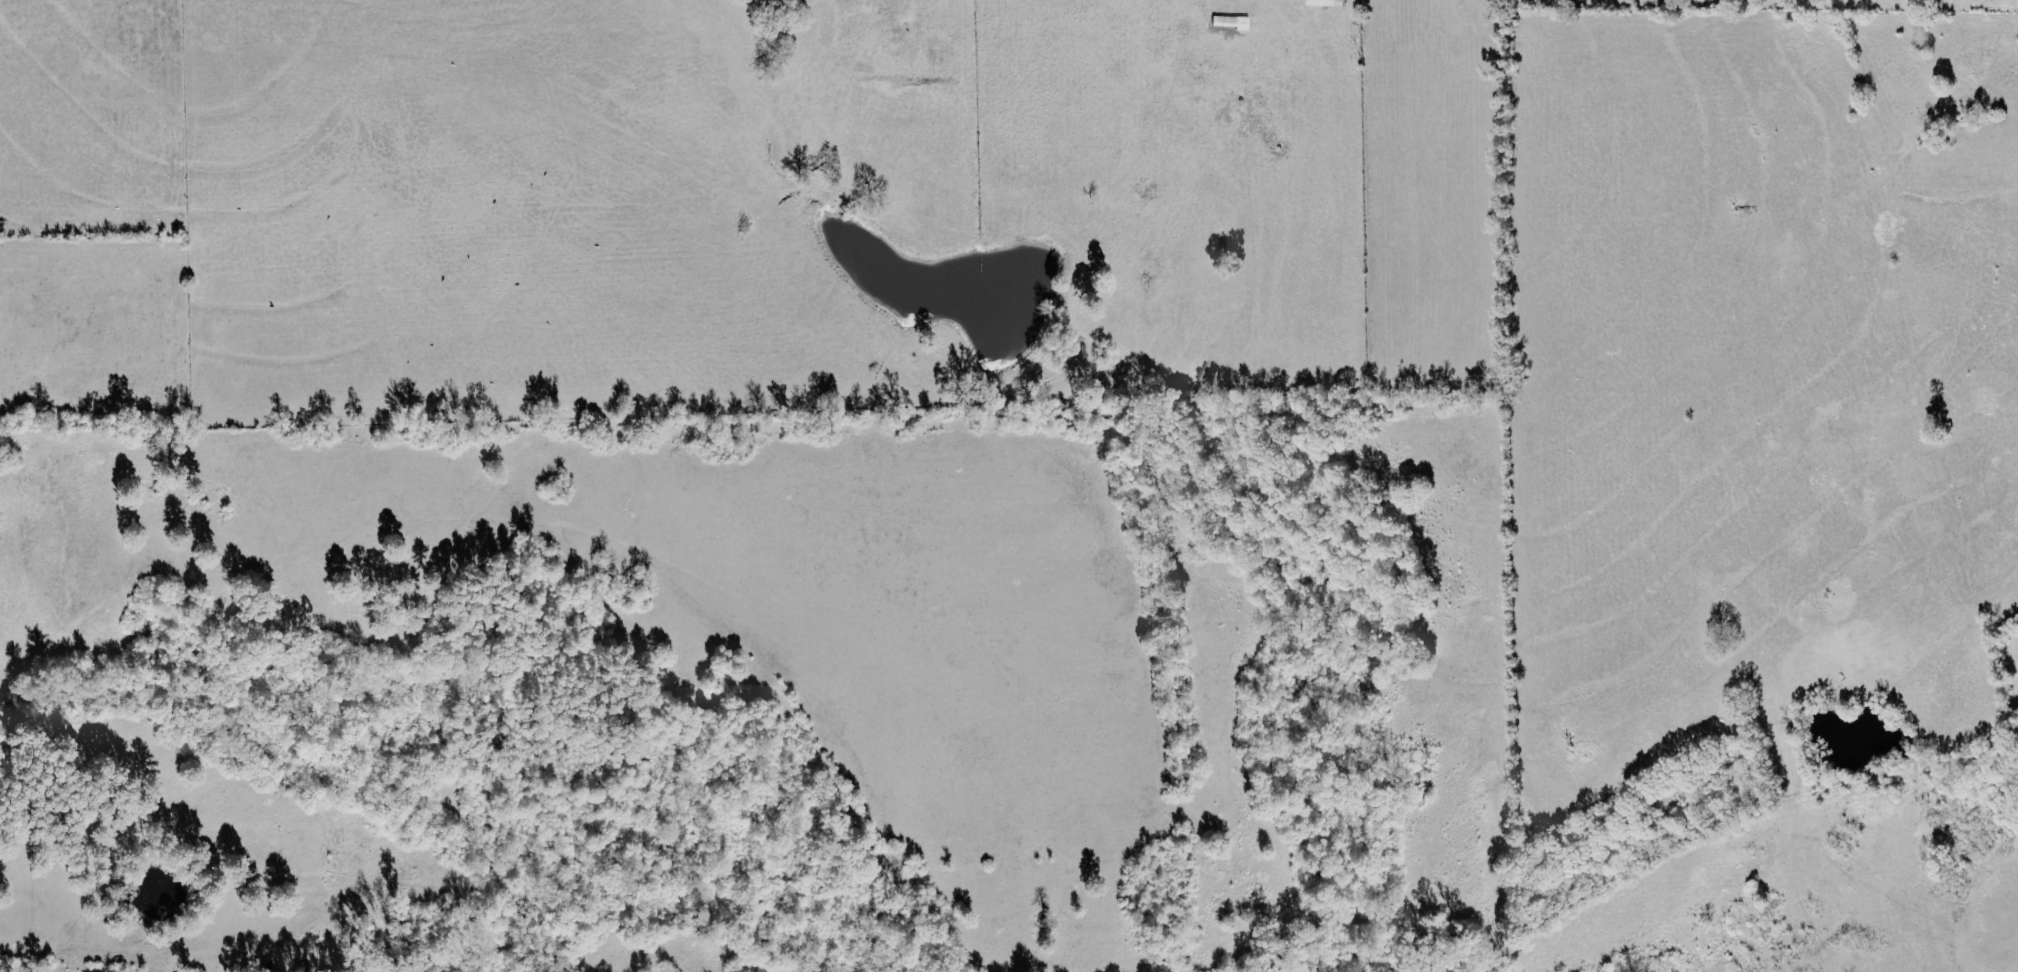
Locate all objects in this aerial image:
building: (1324, 2)

